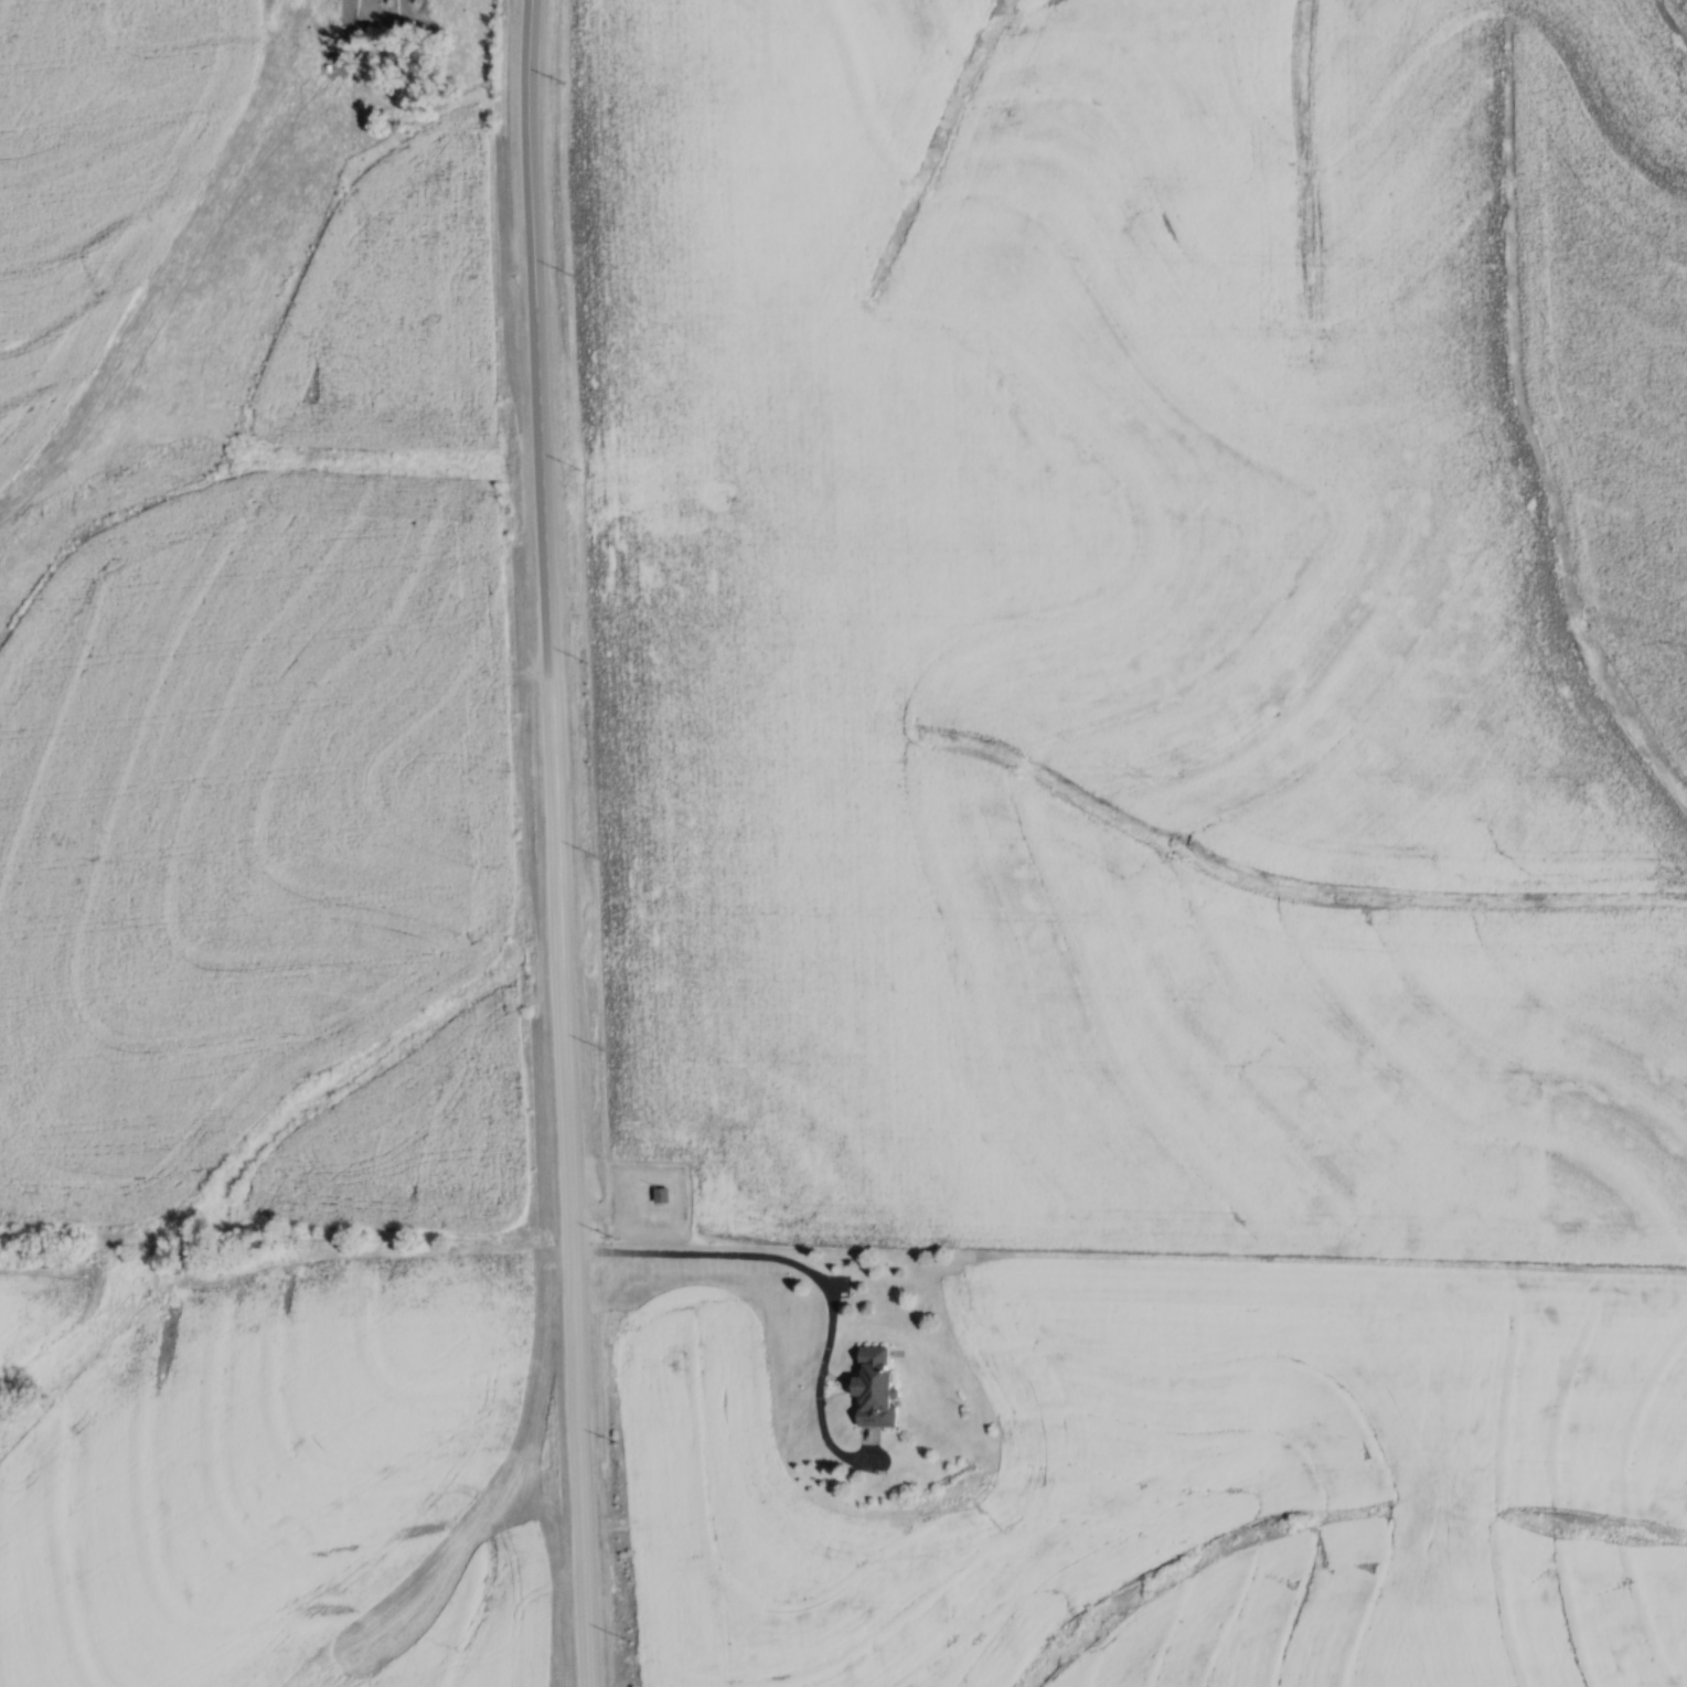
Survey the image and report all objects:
road: (547, 627)
building: (659, 1196)
road: (814, 1274)
building: (872, 1387)
road: (580, 1471)

